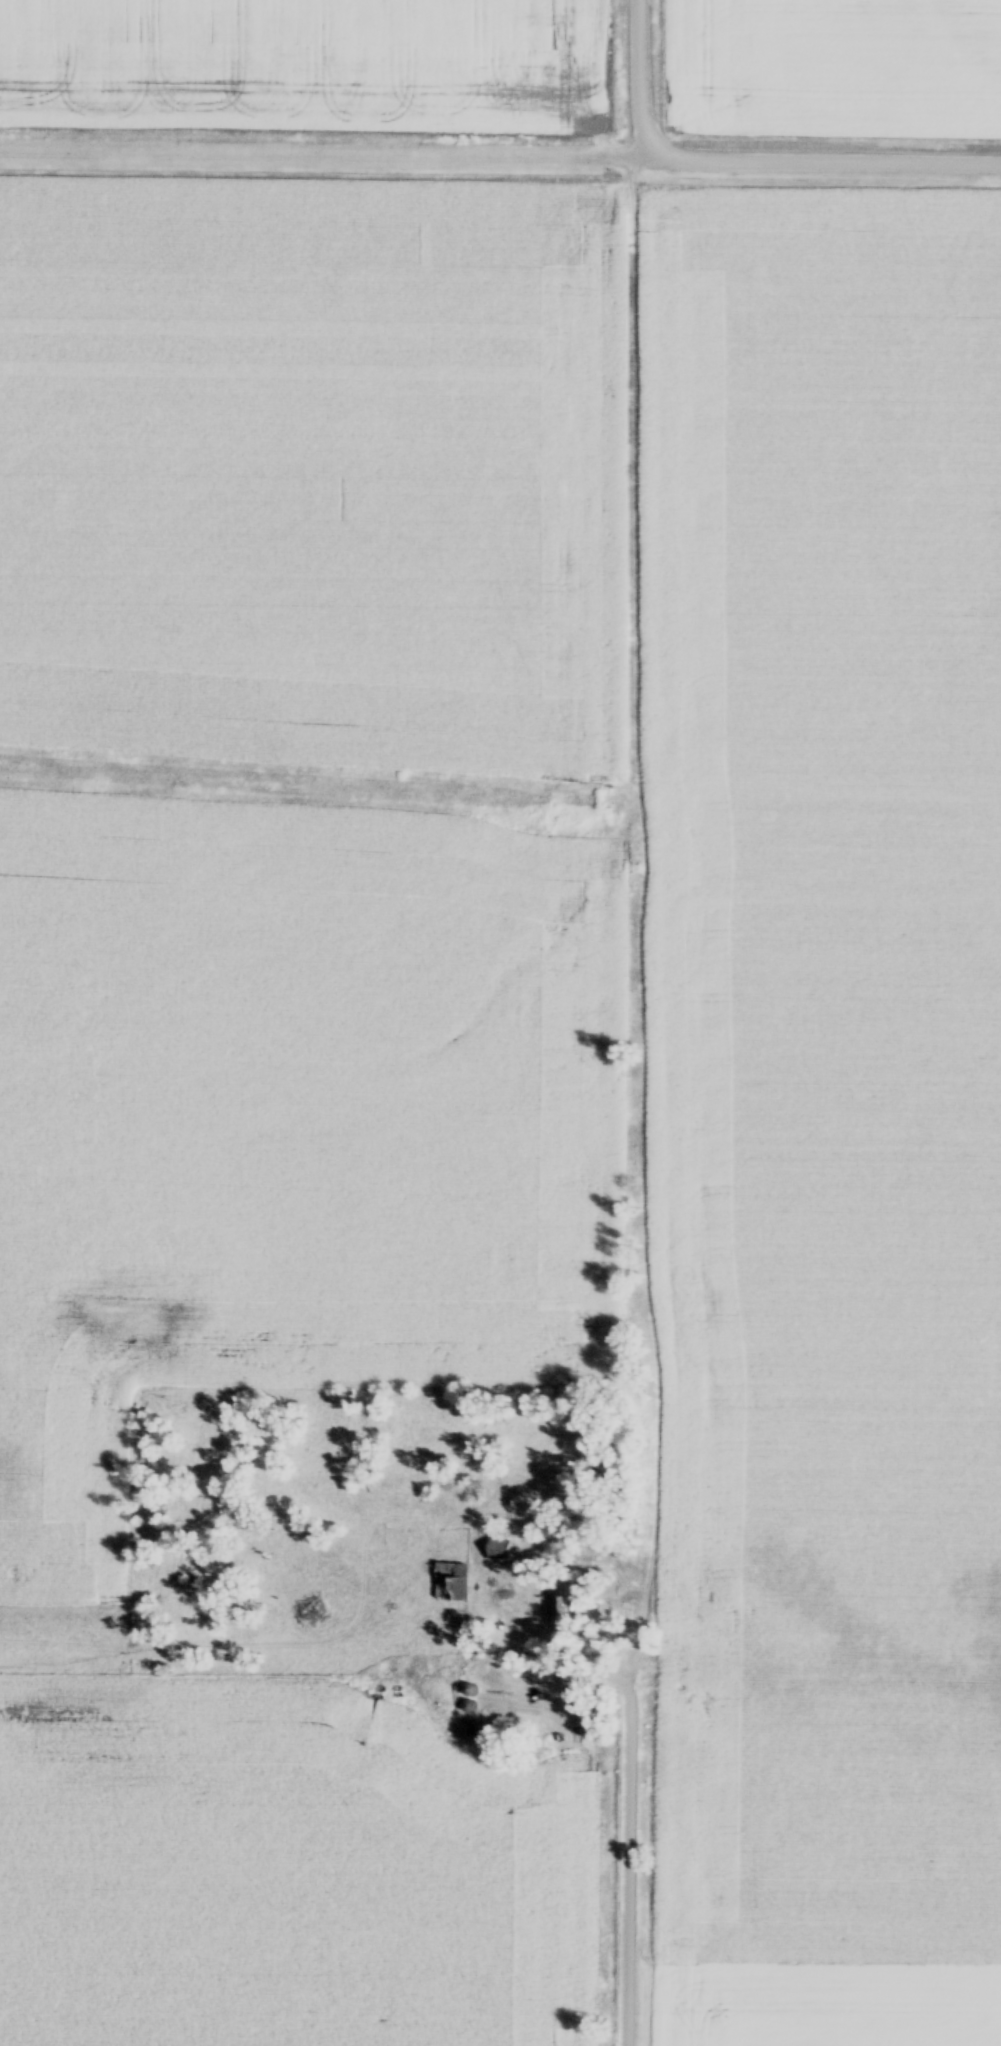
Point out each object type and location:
road: (639, 81)
road: (331, 160)
road: (831, 164)
building: (494, 1557)
building: (453, 1585)
building: (558, 1613)
road: (630, 1787)

